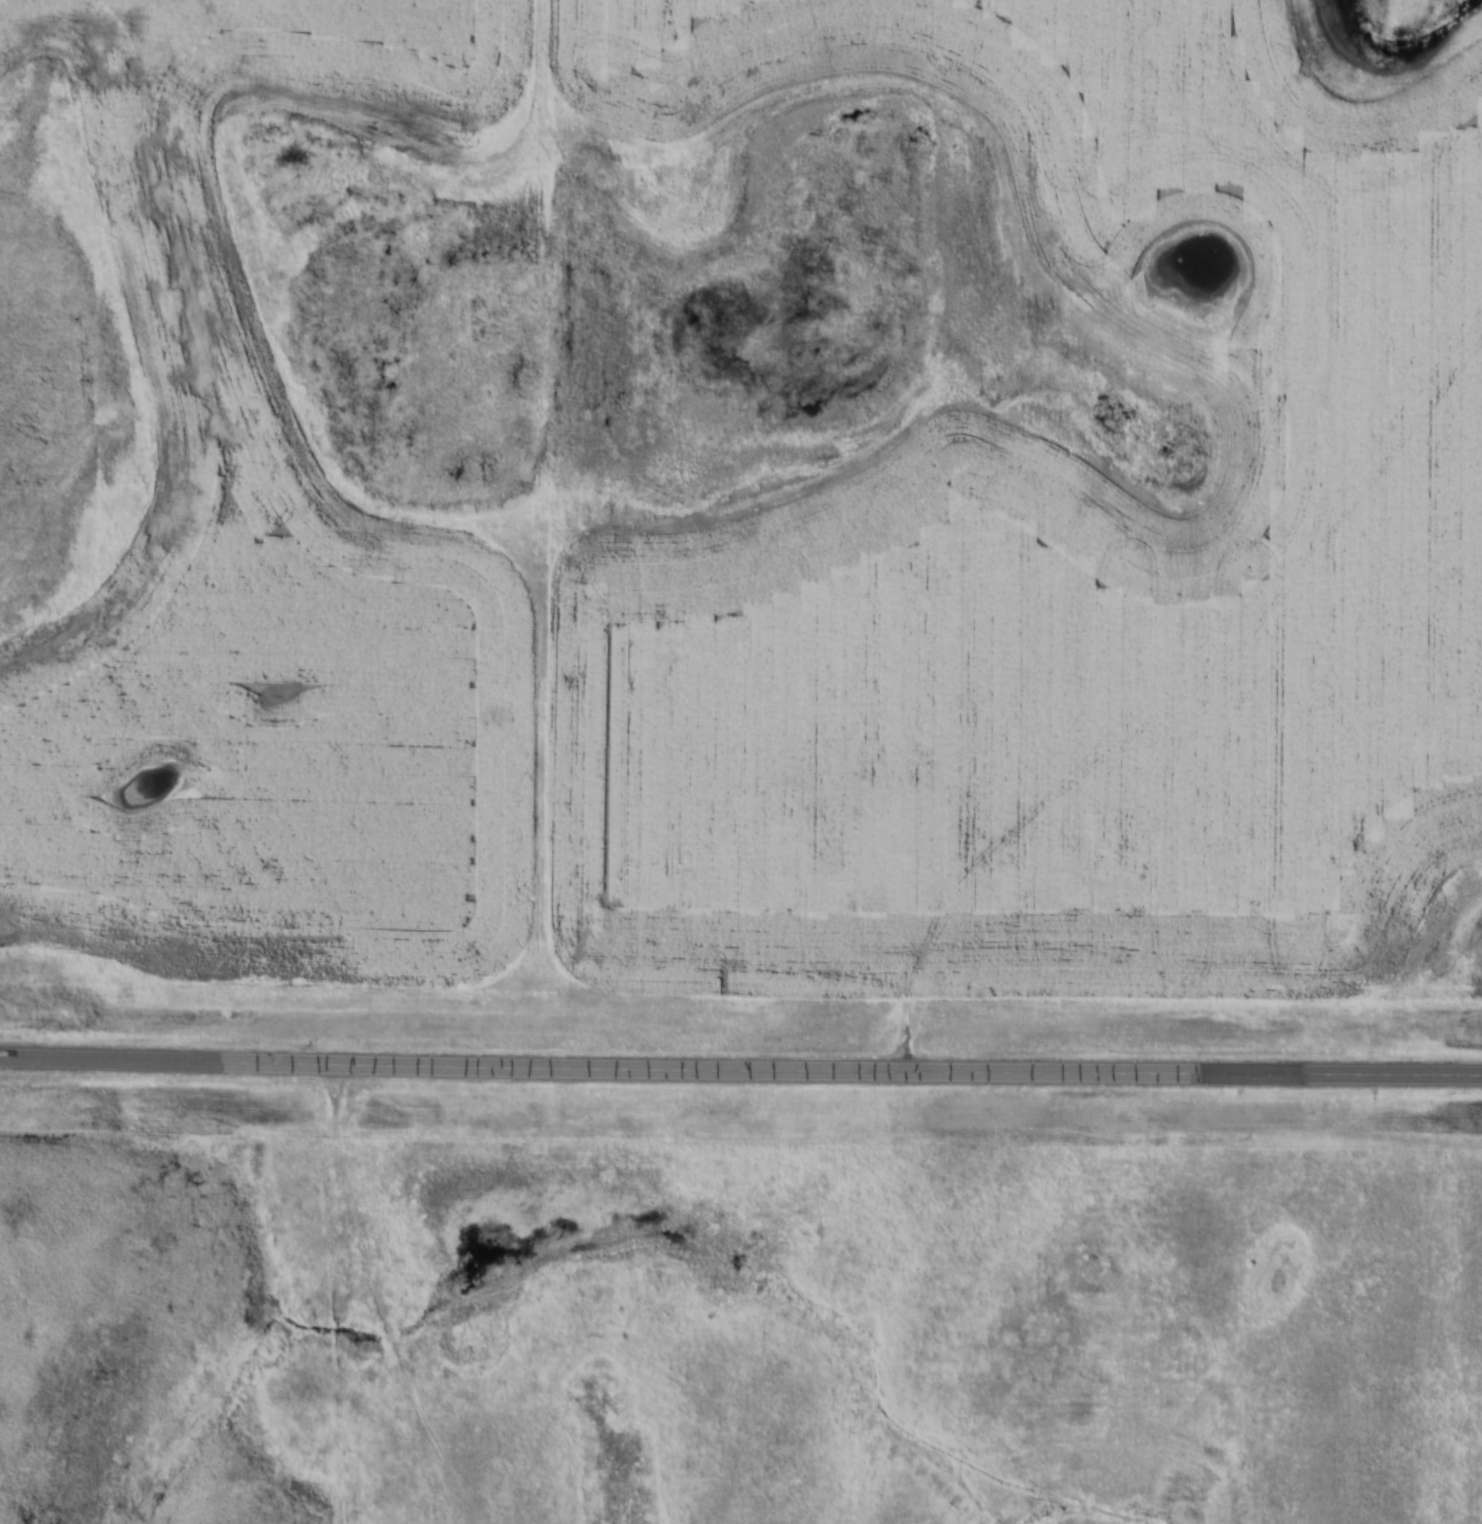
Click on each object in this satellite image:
road: (740, 1076)

